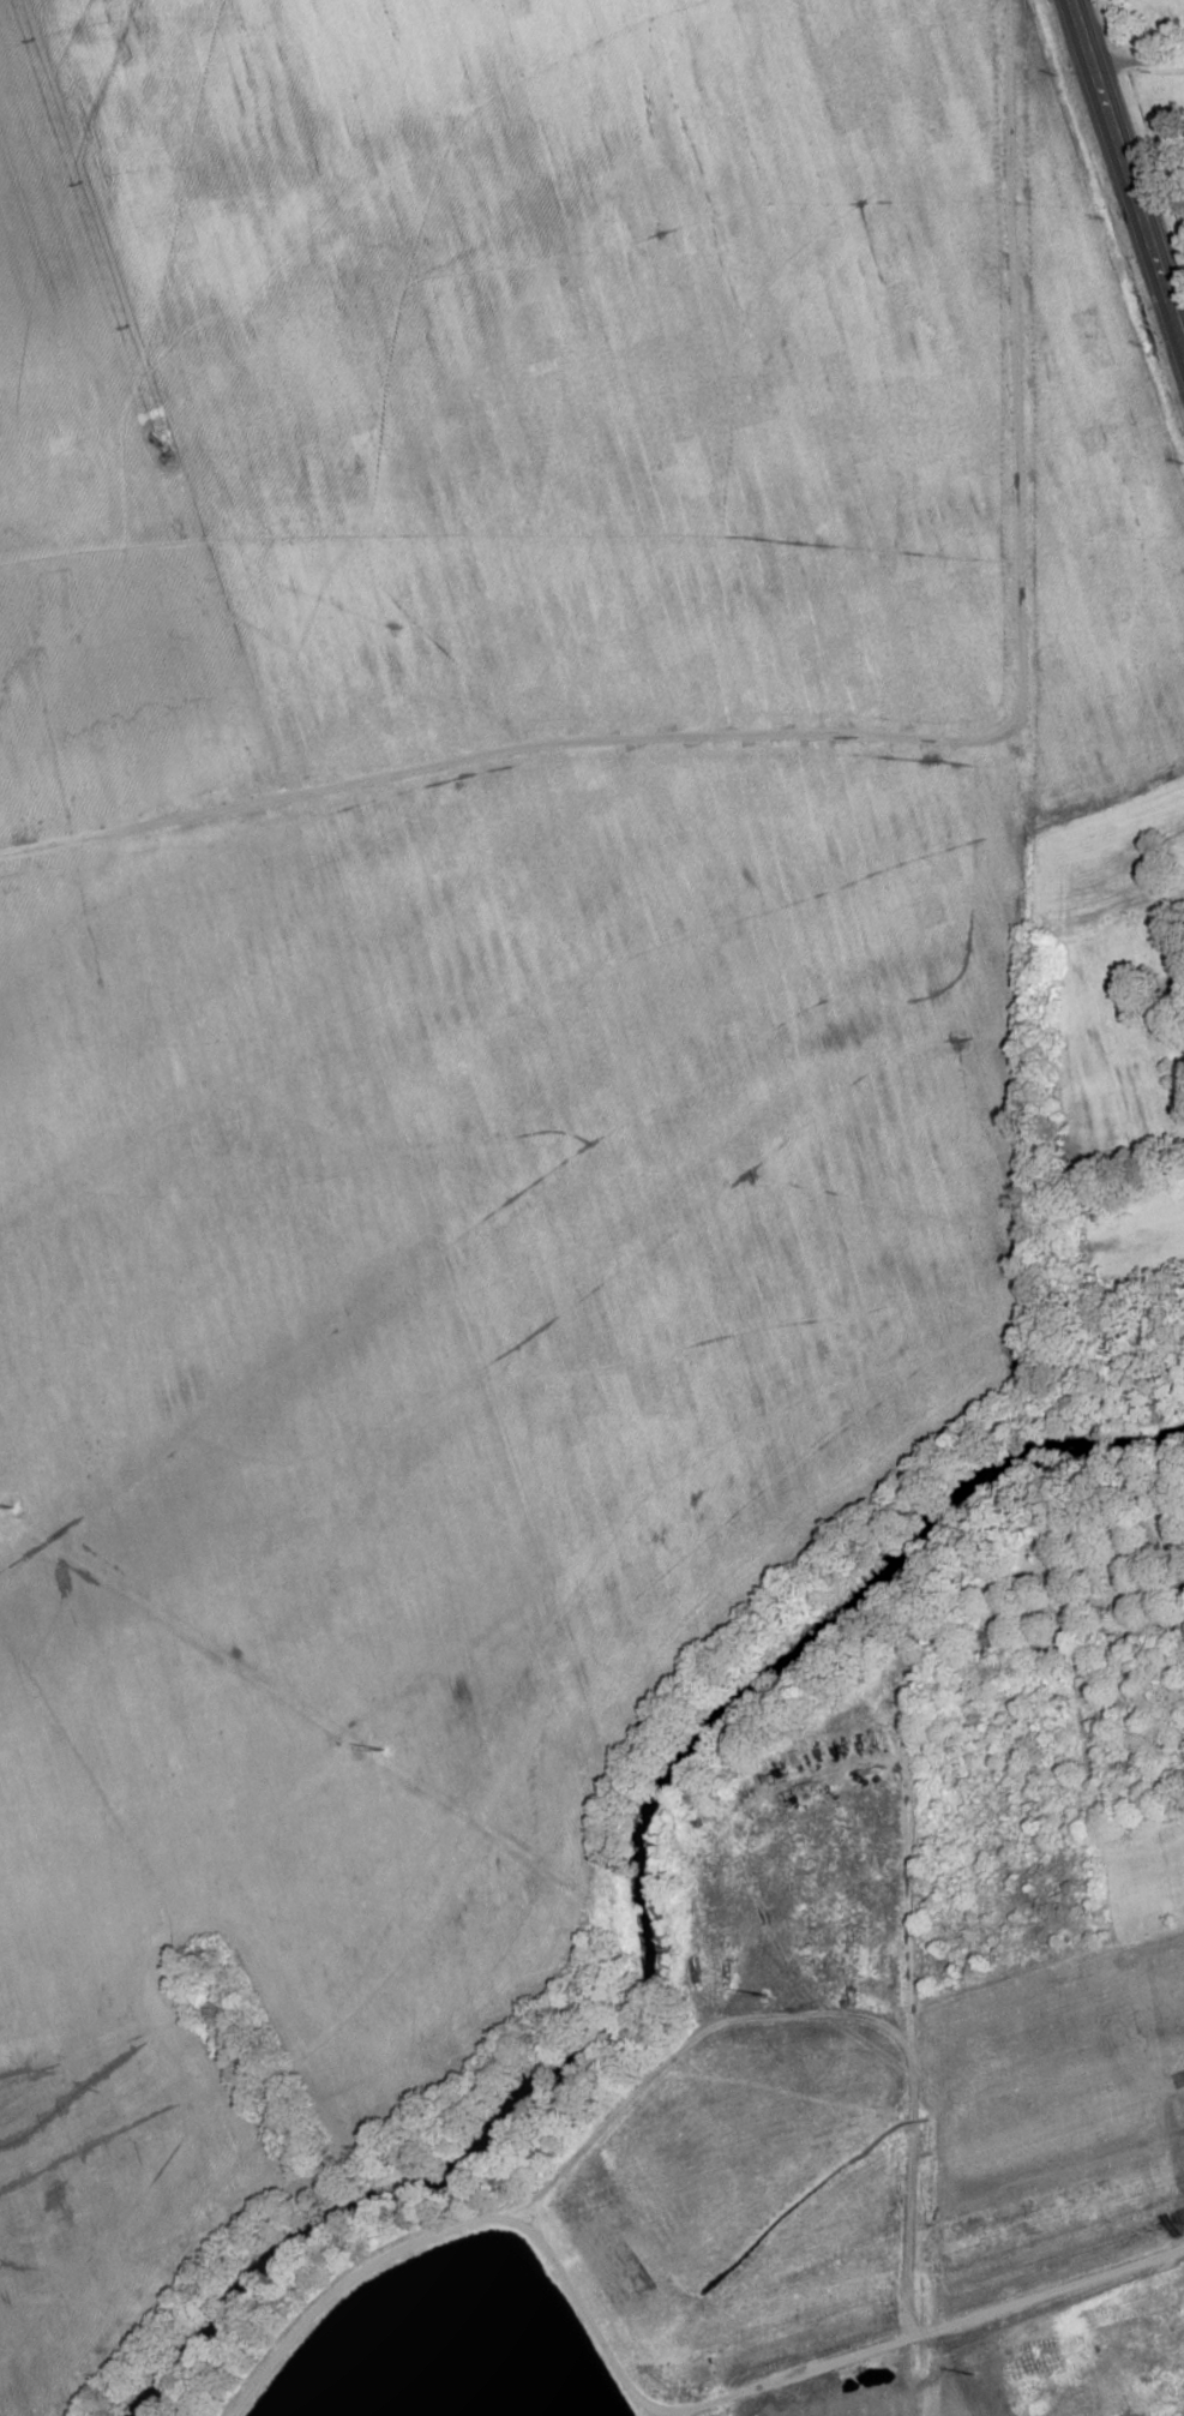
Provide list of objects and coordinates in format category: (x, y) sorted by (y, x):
road: (1134, 55)
road: (1124, 181)
road: (114, 377)
road: (866, 738)
road: (1062, 2301)

